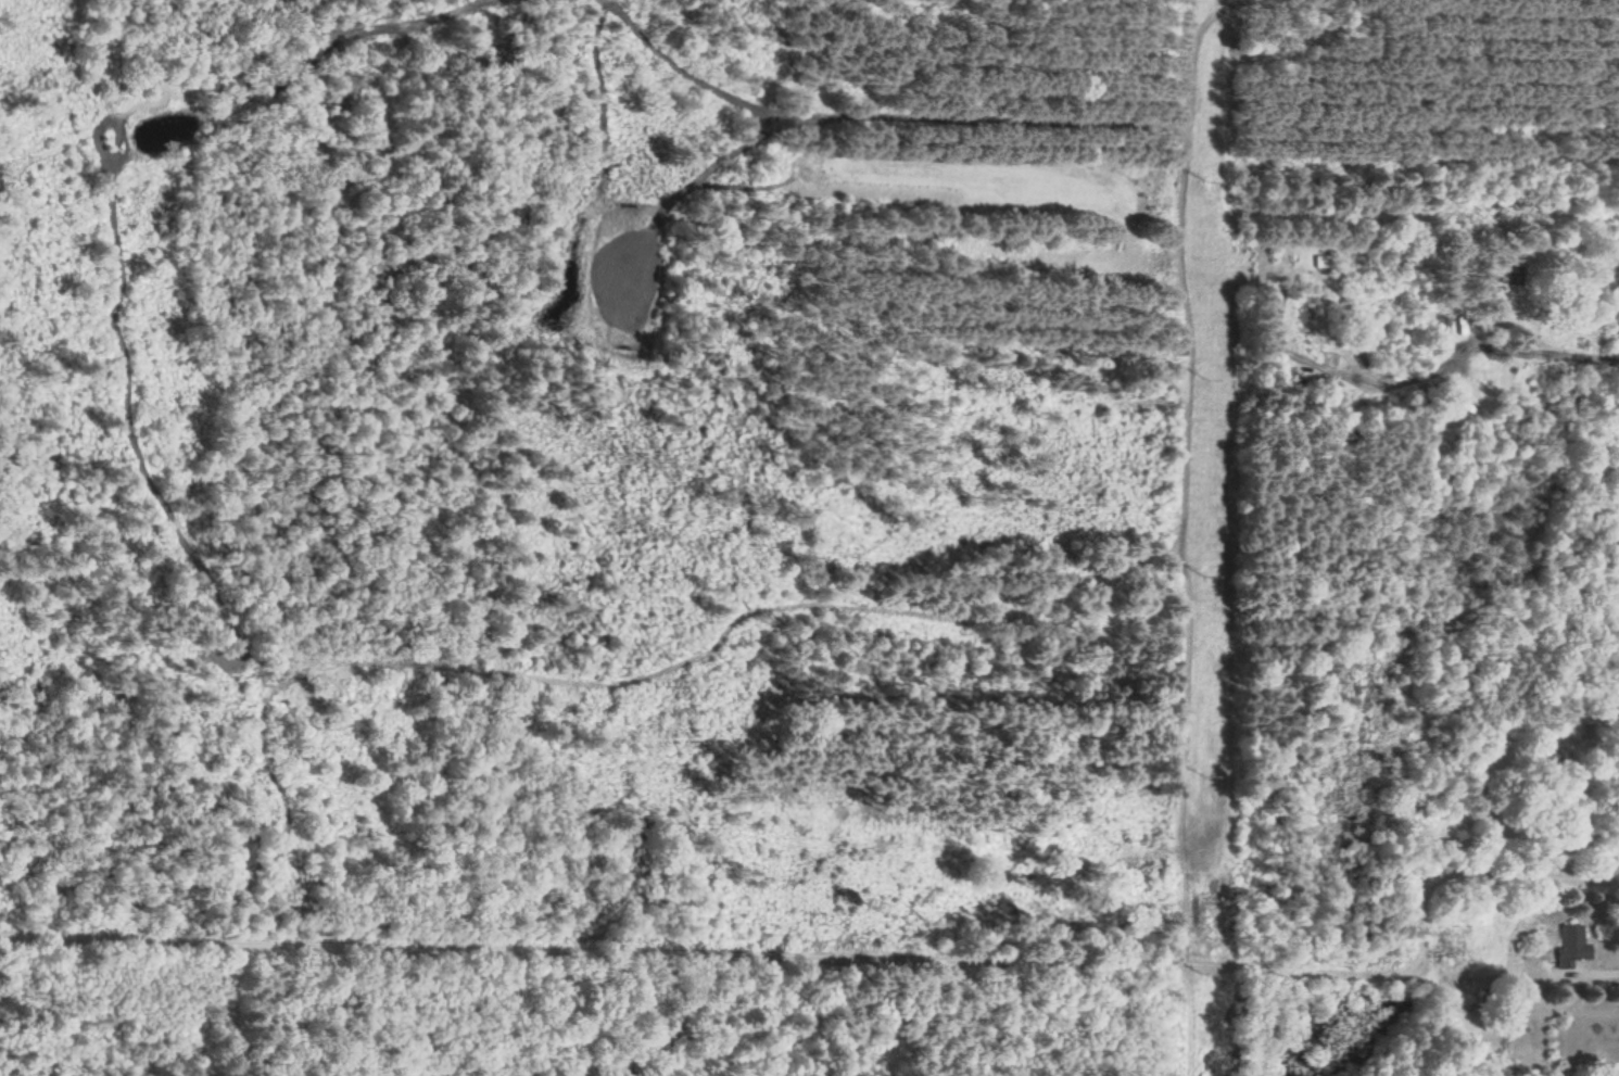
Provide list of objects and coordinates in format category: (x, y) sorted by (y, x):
building: (1572, 945)
road: (847, 959)

